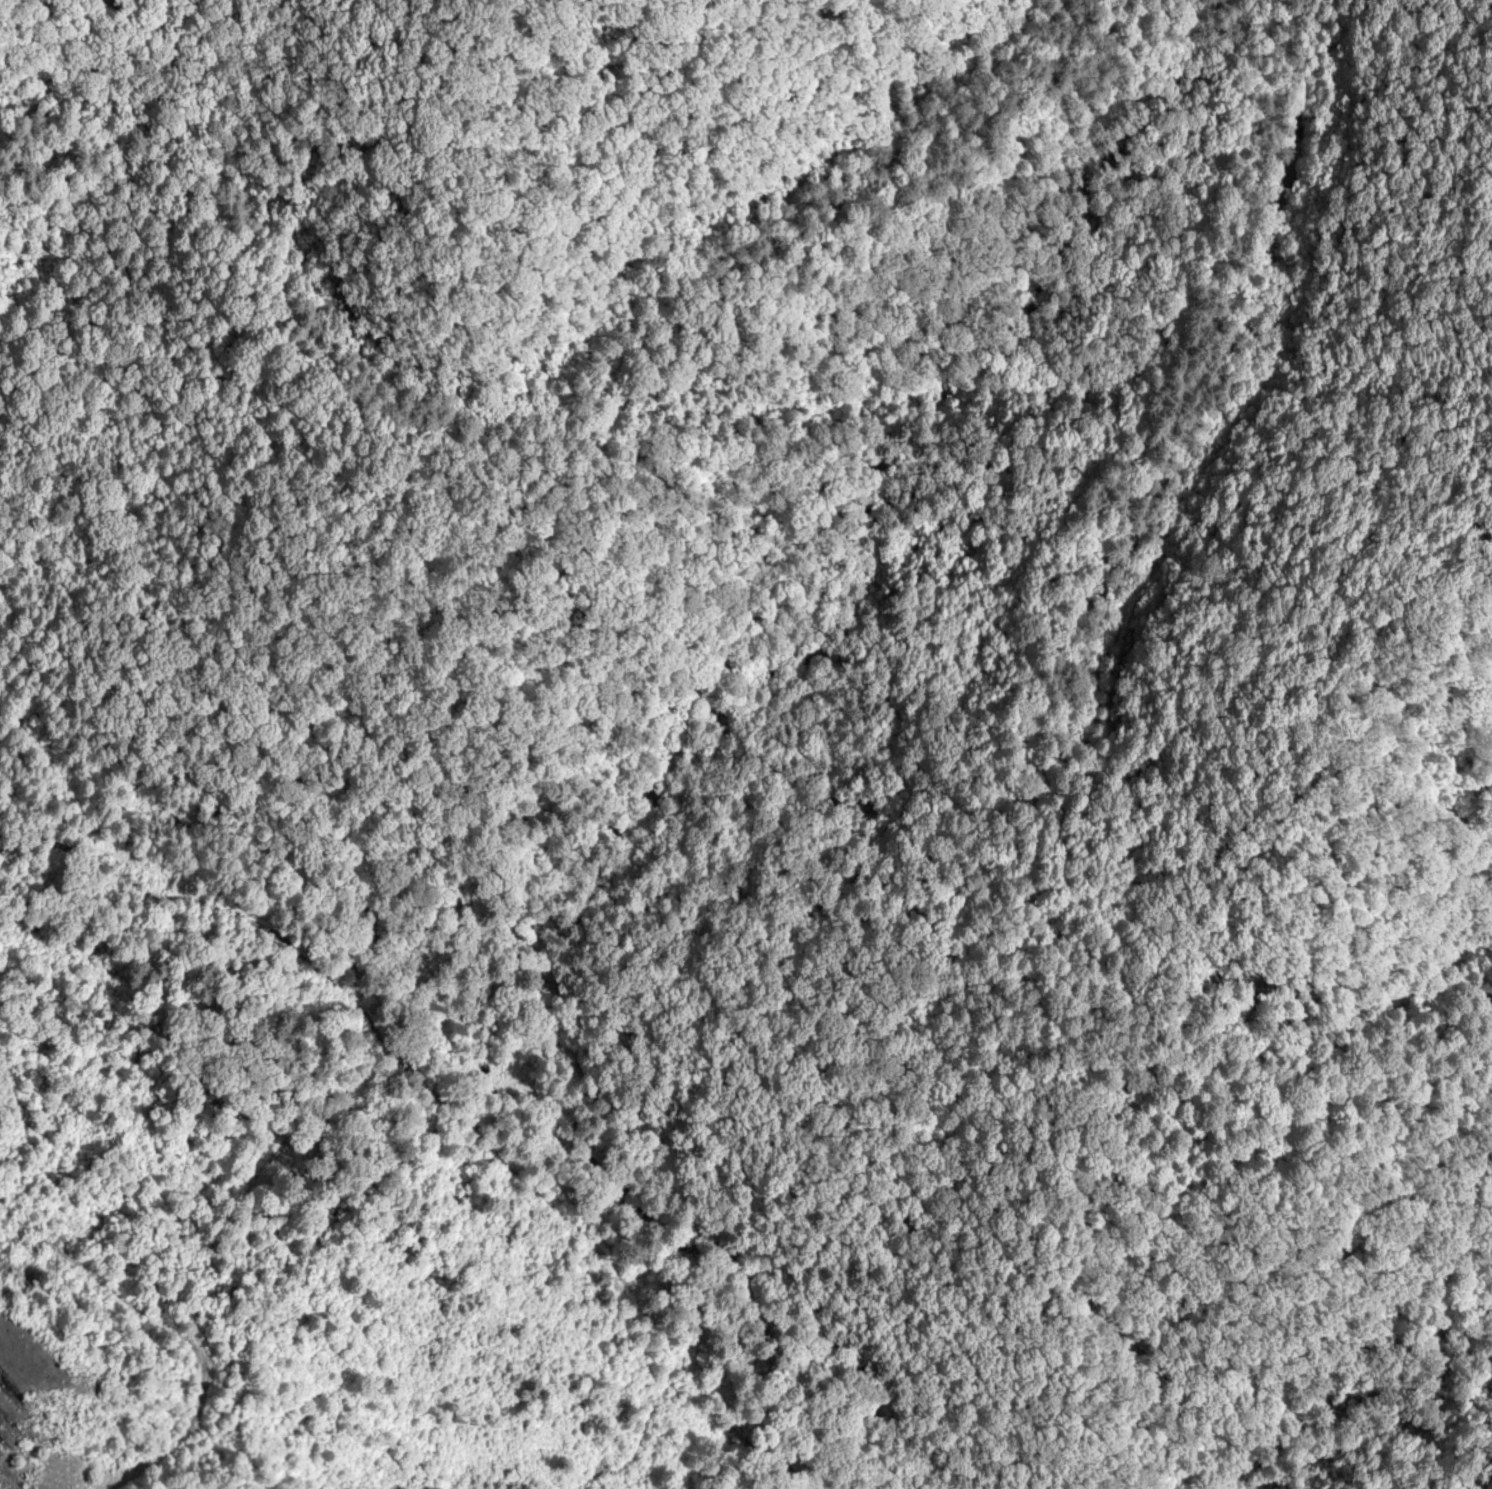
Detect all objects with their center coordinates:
quarry: (26, 1369)

